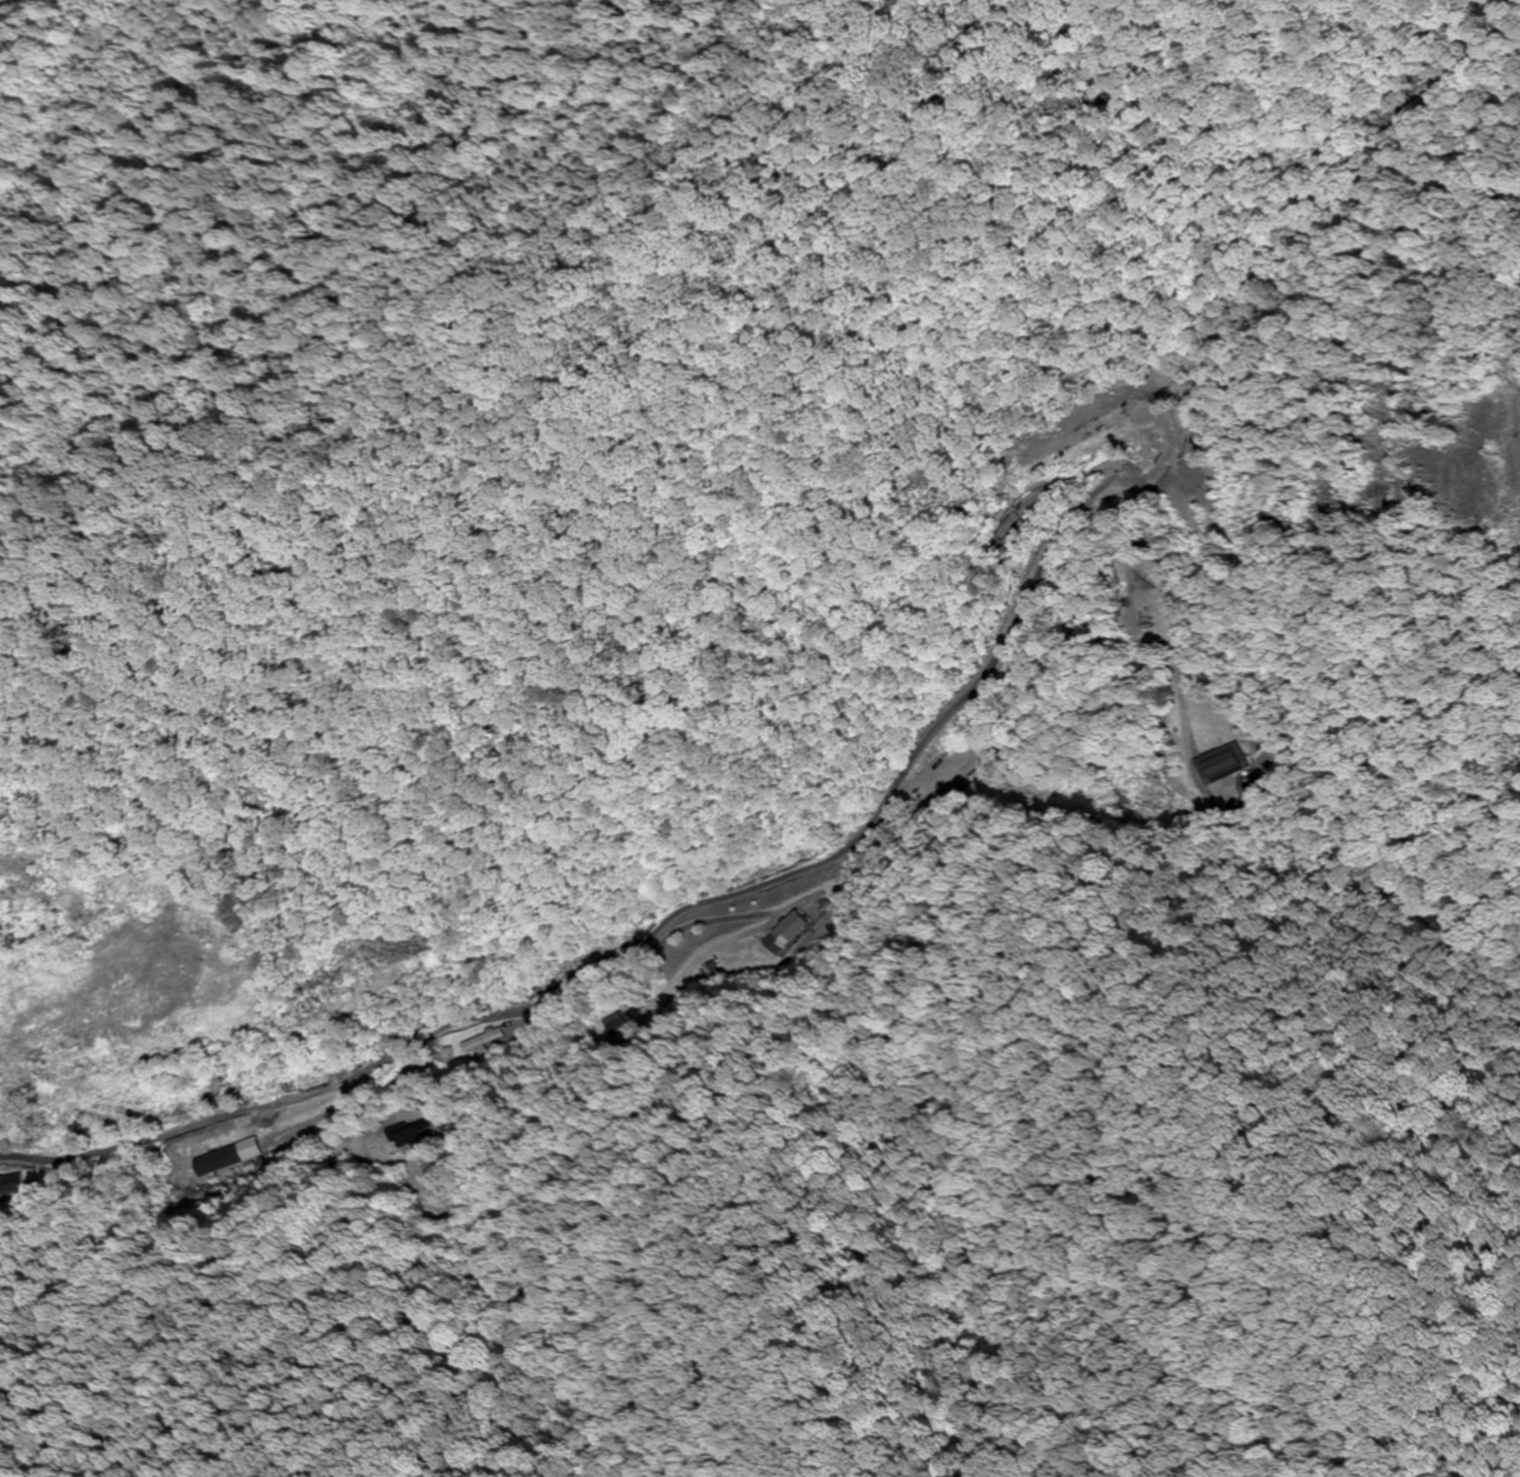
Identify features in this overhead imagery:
building: (1020, 531)
building: (966, 762)
building: (1222, 764)
road: (799, 868)
building: (795, 933)
building: (419, 1132)
building: (9, 1185)

